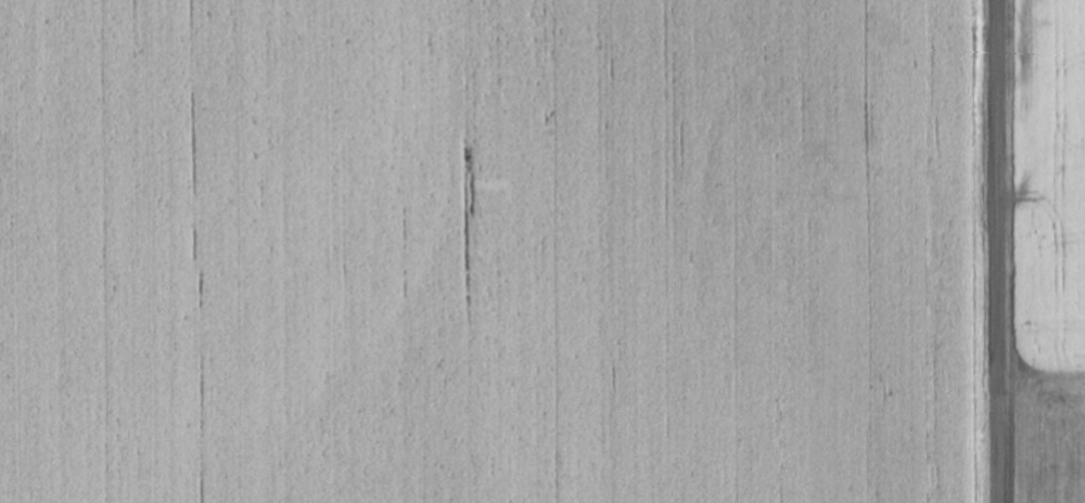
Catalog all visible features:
road: (995, 251)

